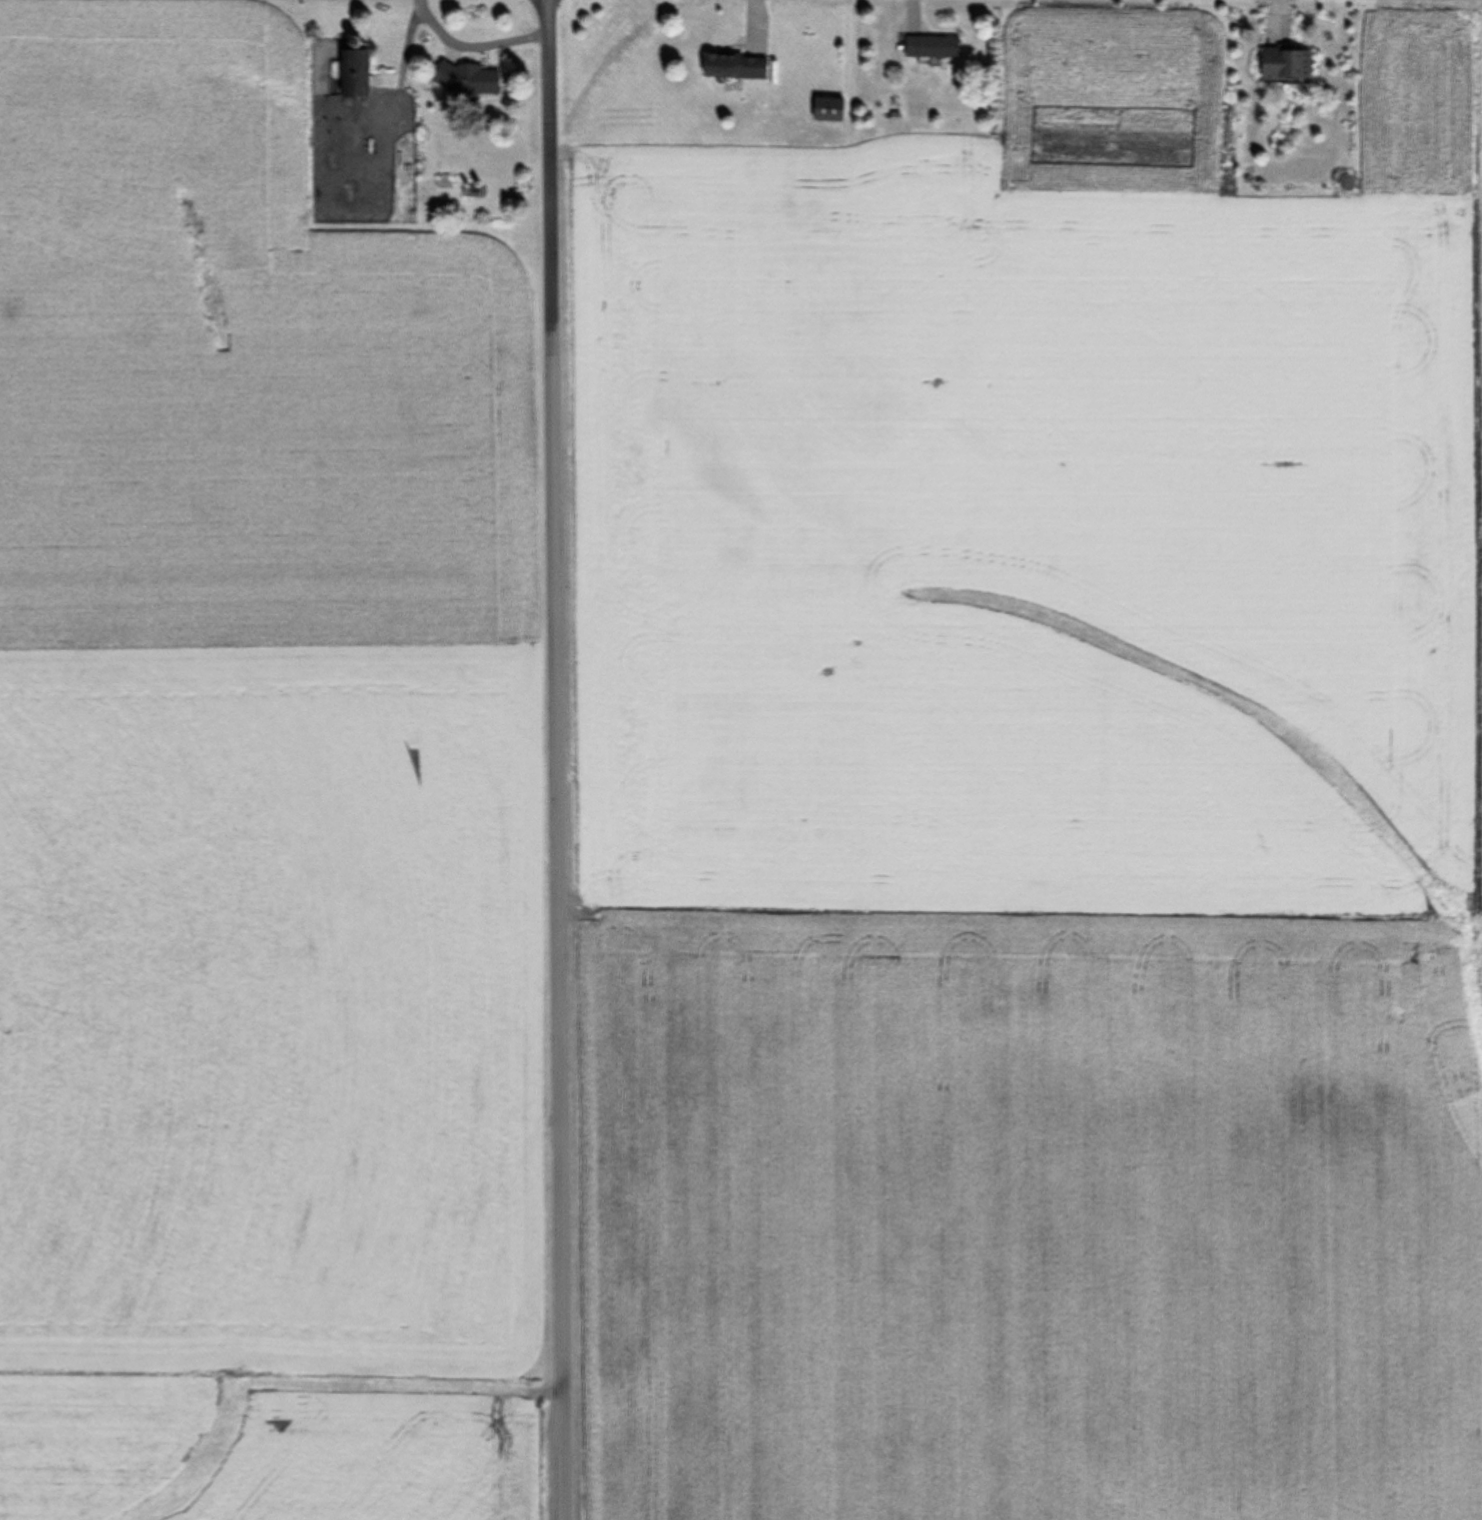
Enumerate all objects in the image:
building: (931, 47)
building: (1283, 64)
building: (732, 67)
building: (354, 73)
building: (465, 79)
building: (827, 109)
building: (471, 191)
road: (554, 228)
road: (554, 988)

